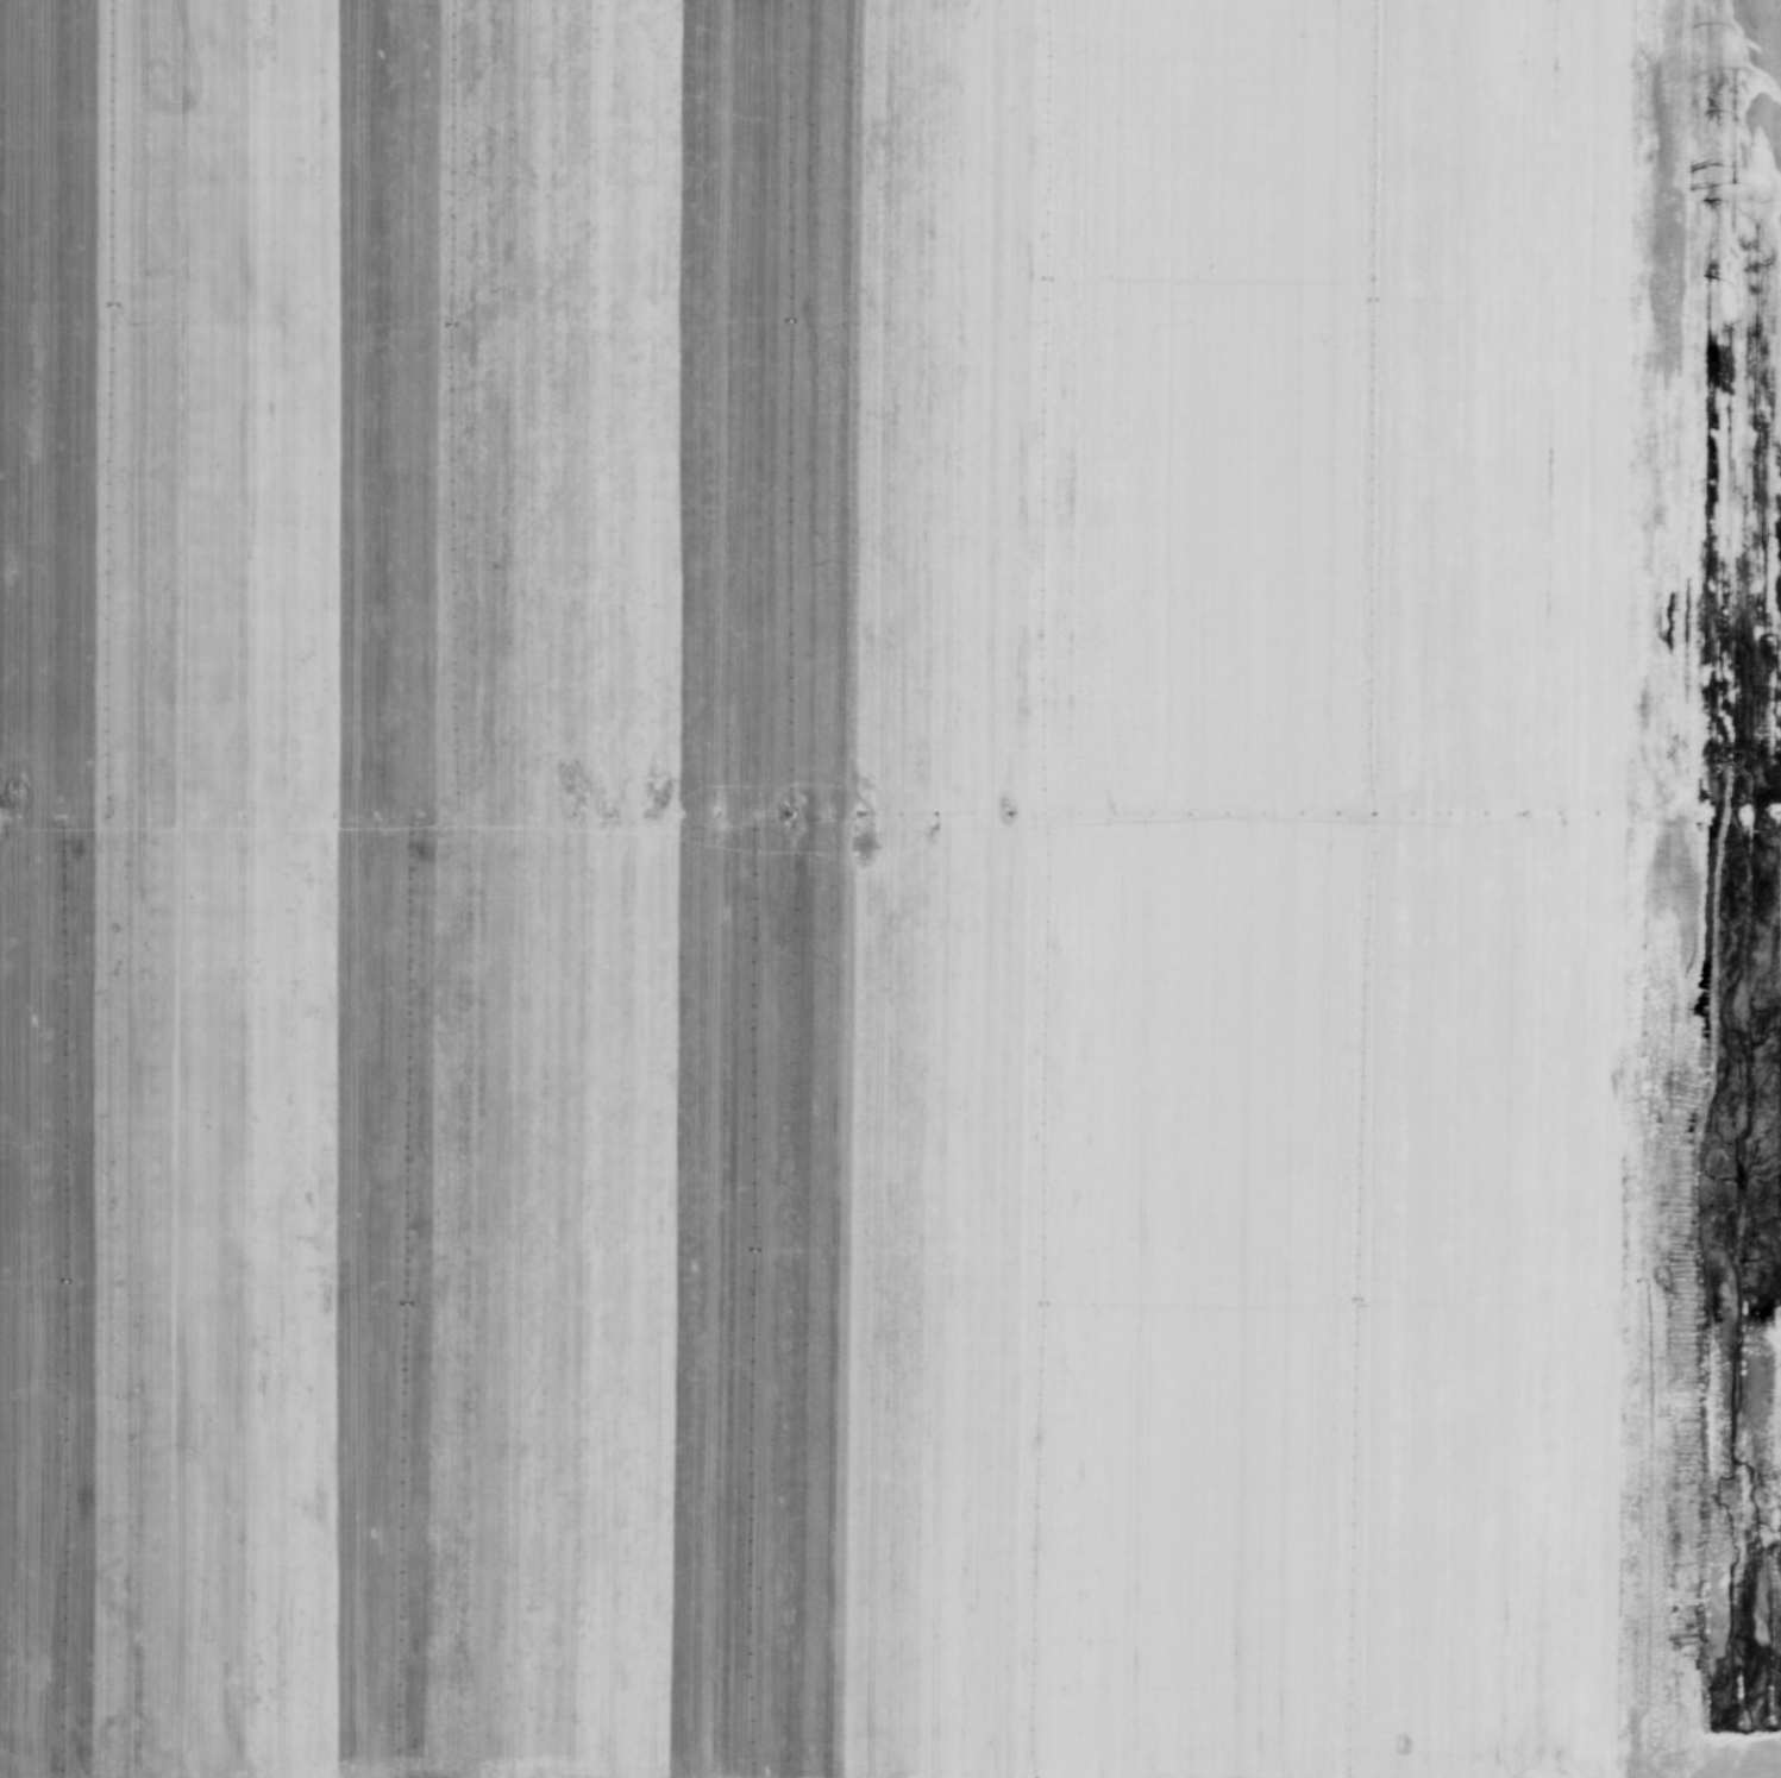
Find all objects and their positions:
crop: (890, 888)

